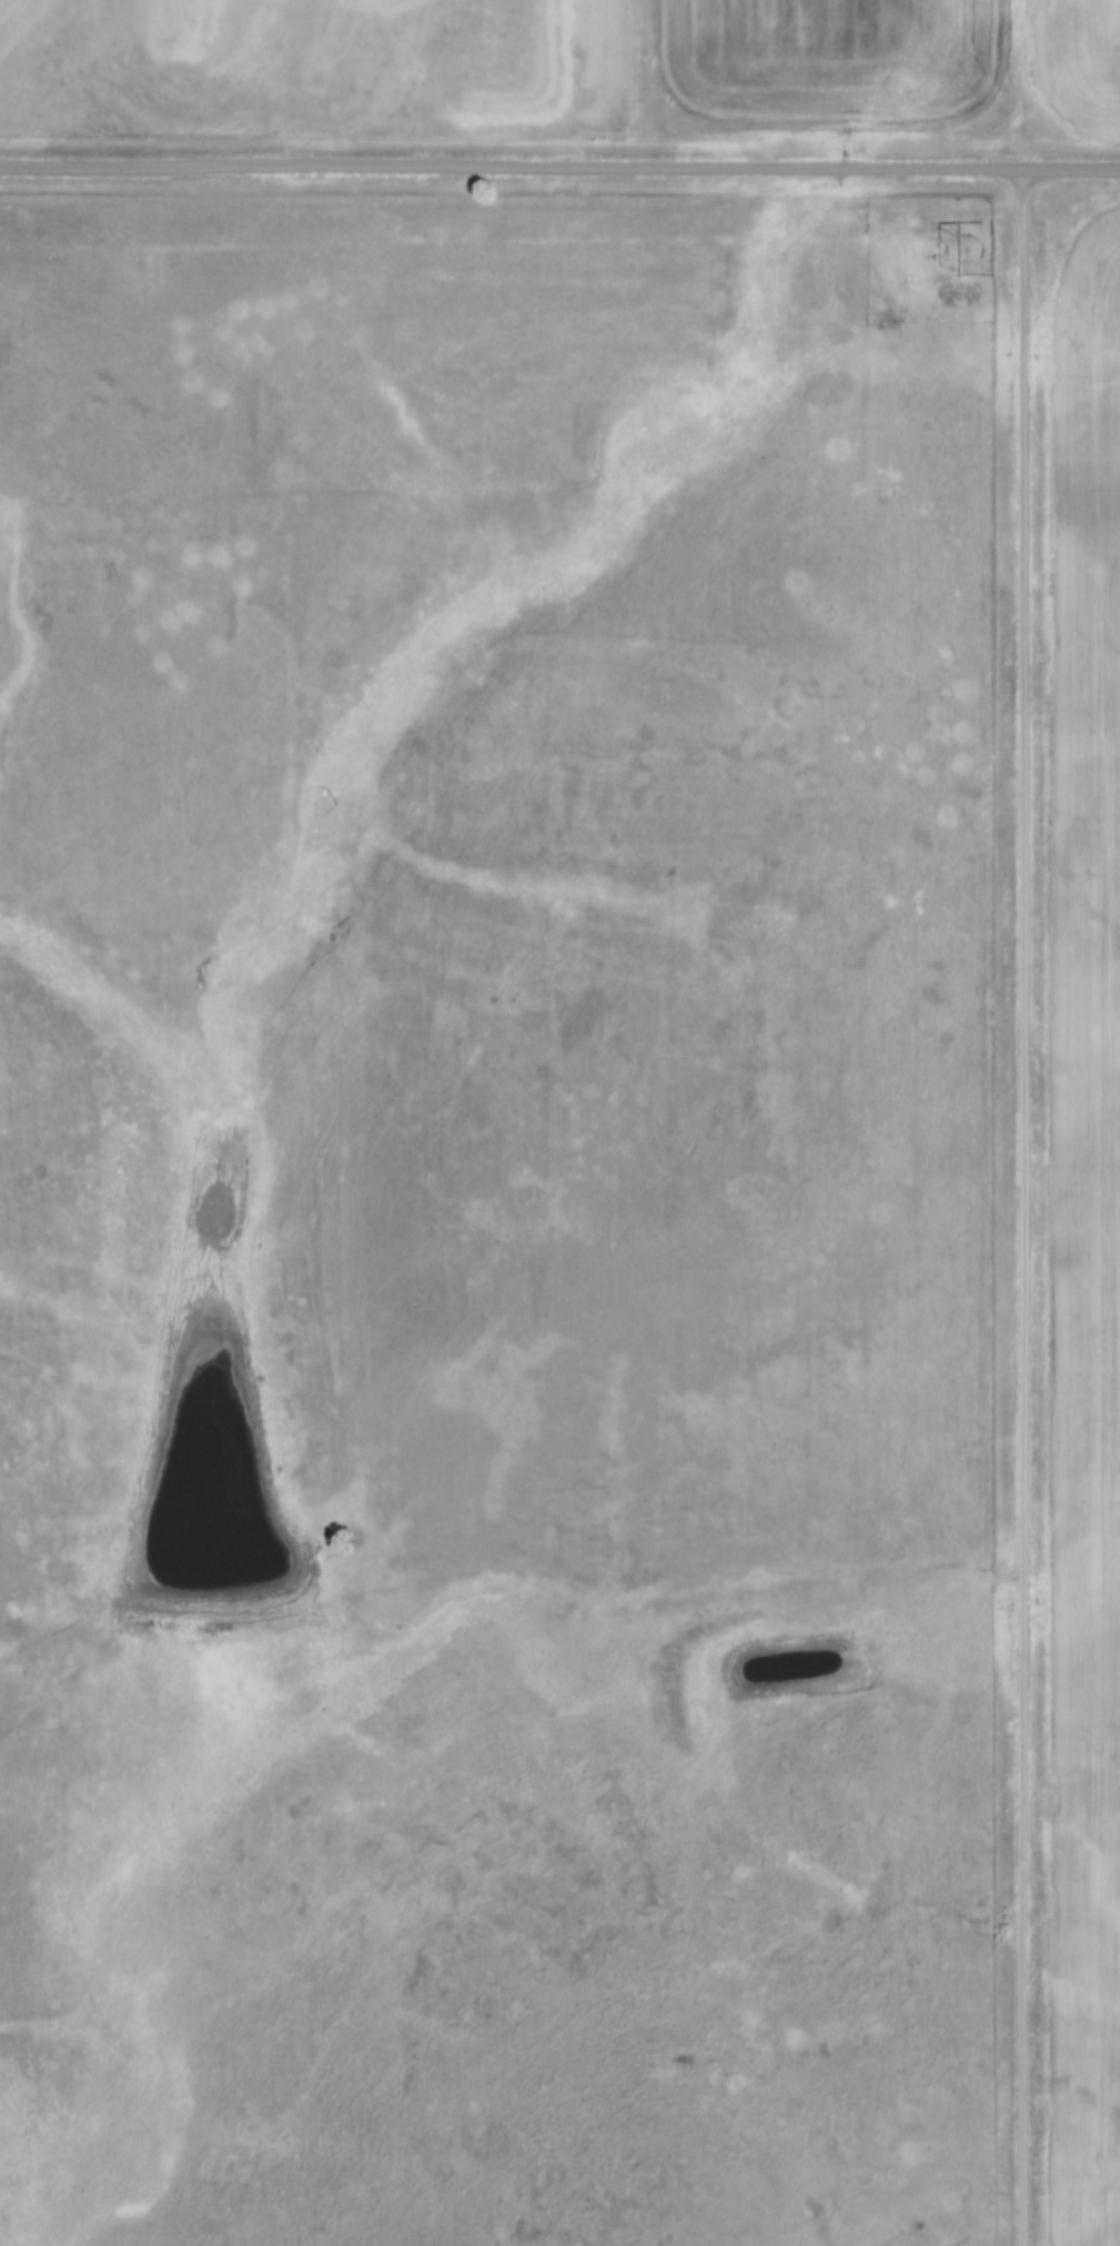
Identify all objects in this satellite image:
road: (559, 169)
road: (1022, 1209)

